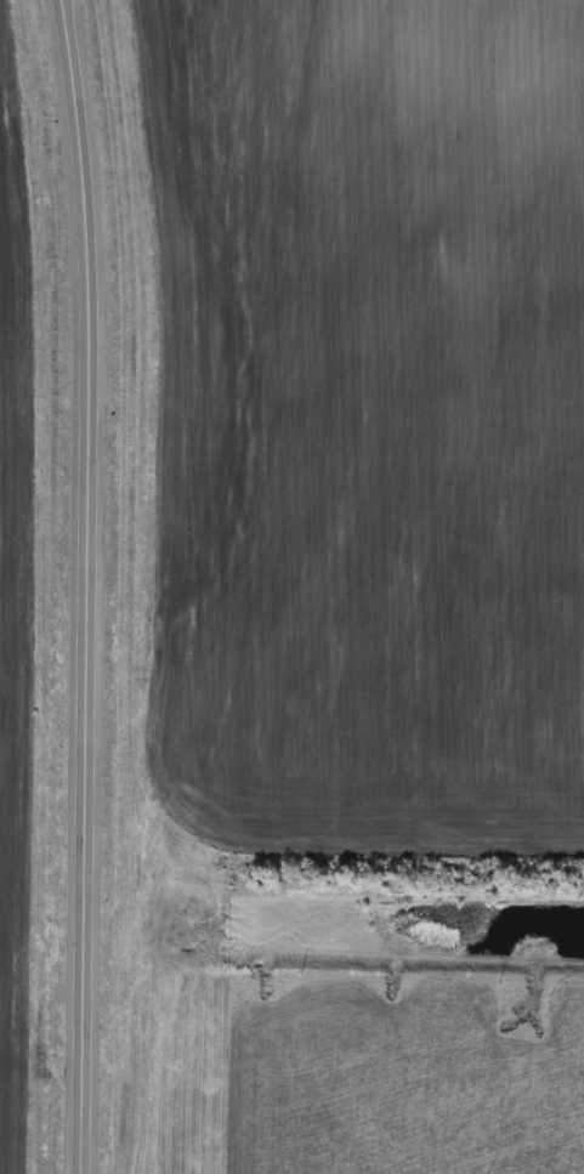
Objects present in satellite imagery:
road: (90, 586)
building: (96, 946)

